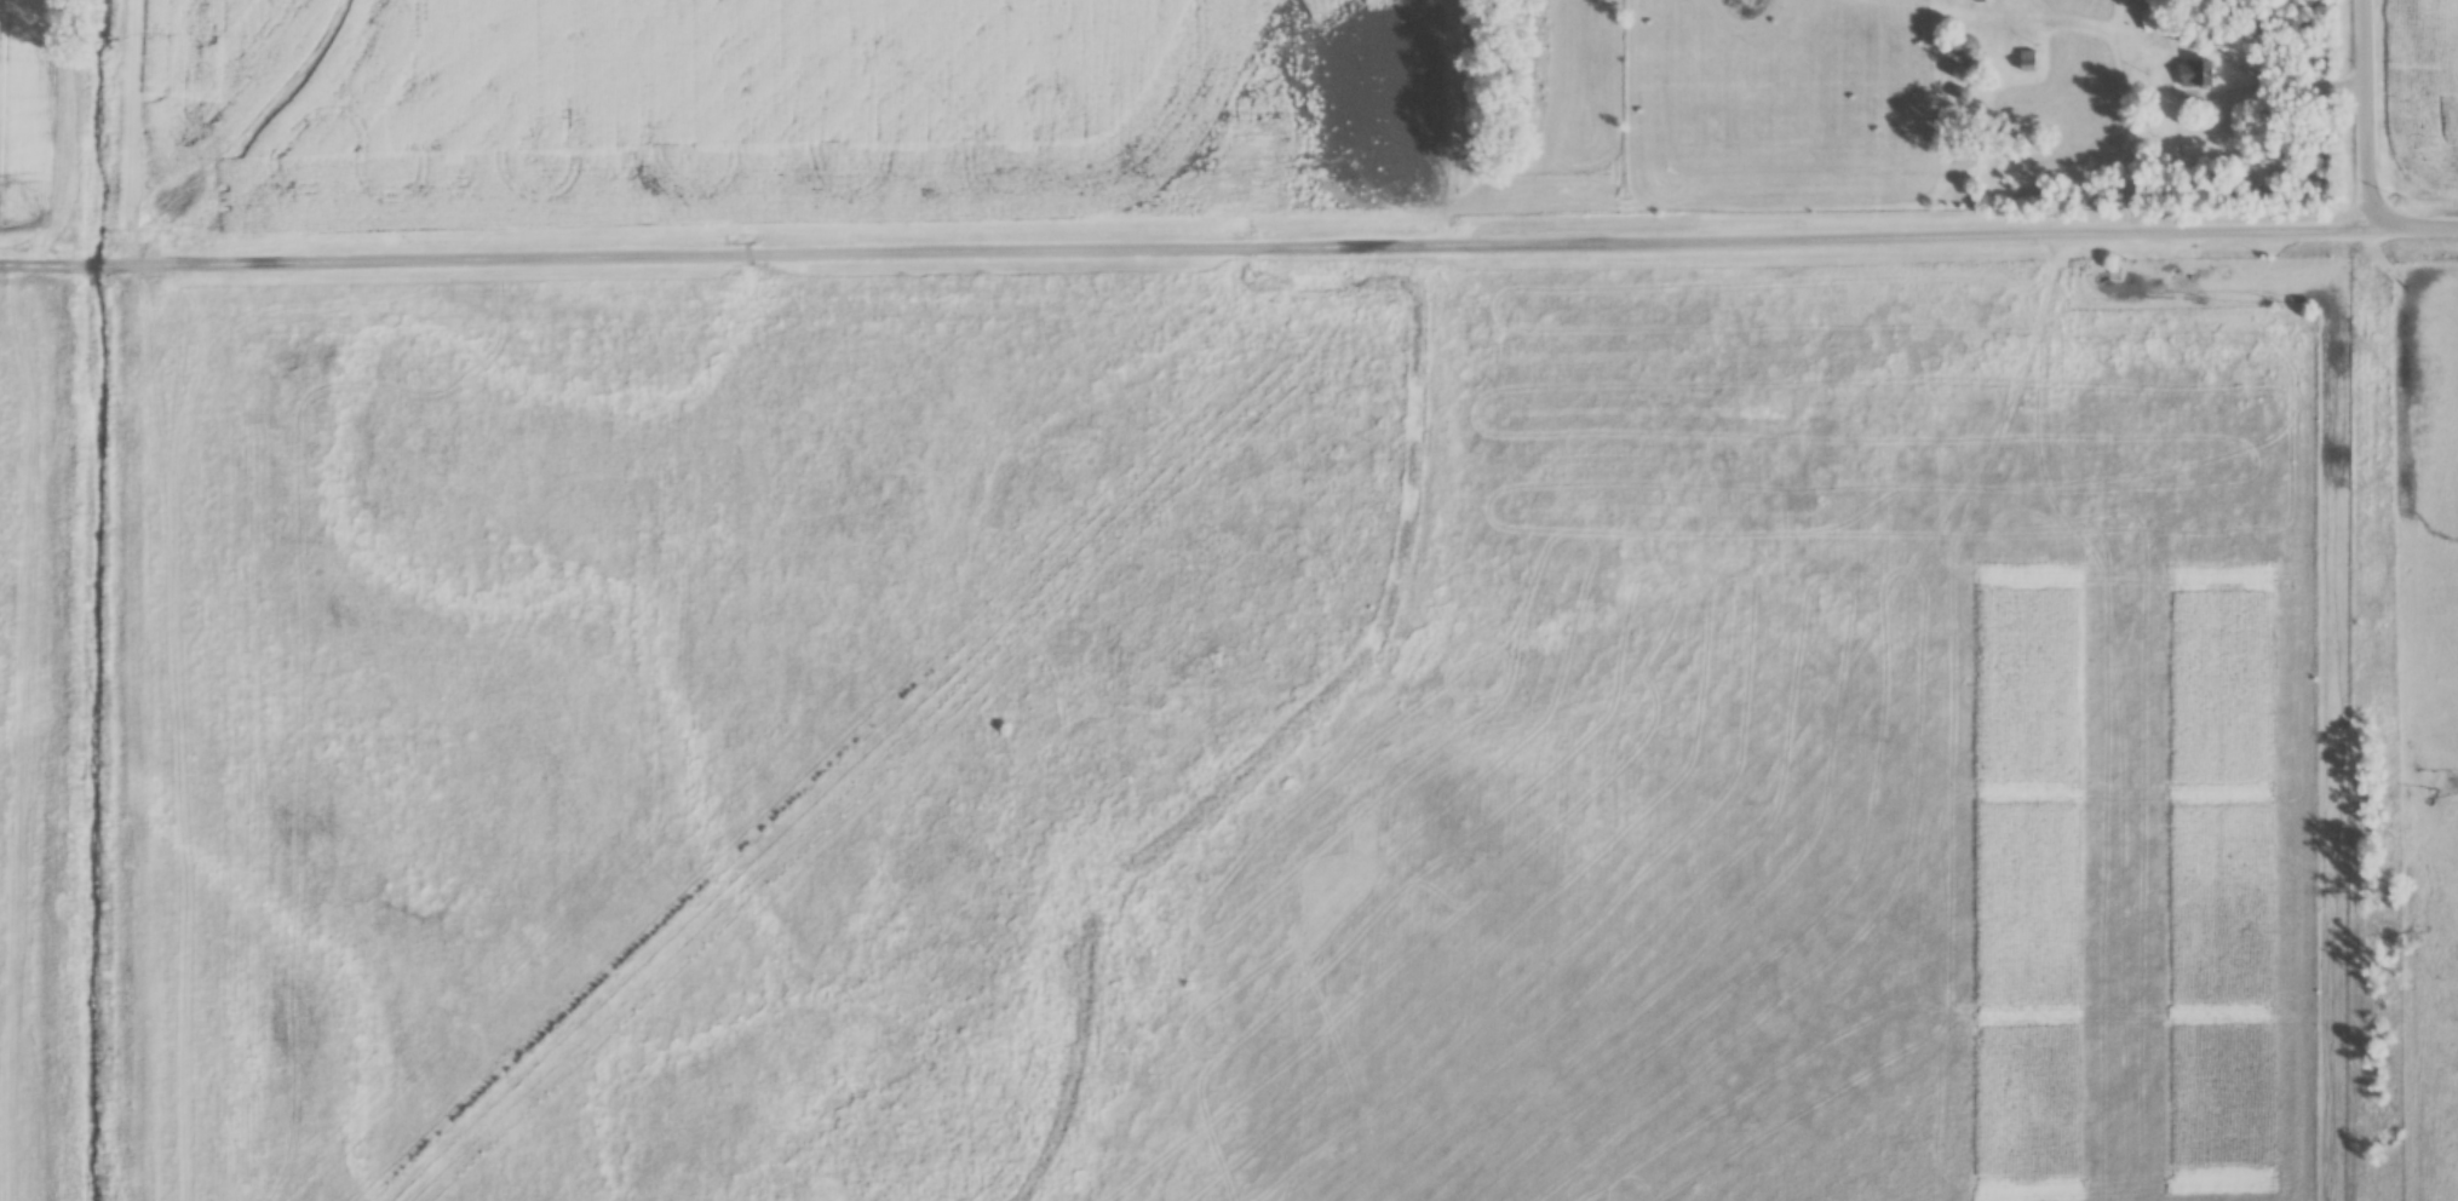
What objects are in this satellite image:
building: (2154, 22)
road: (2367, 39)
road: (2172, 46)
building: (1963, 48)
building: (2194, 75)
road: (2370, 151)
road: (1229, 245)

